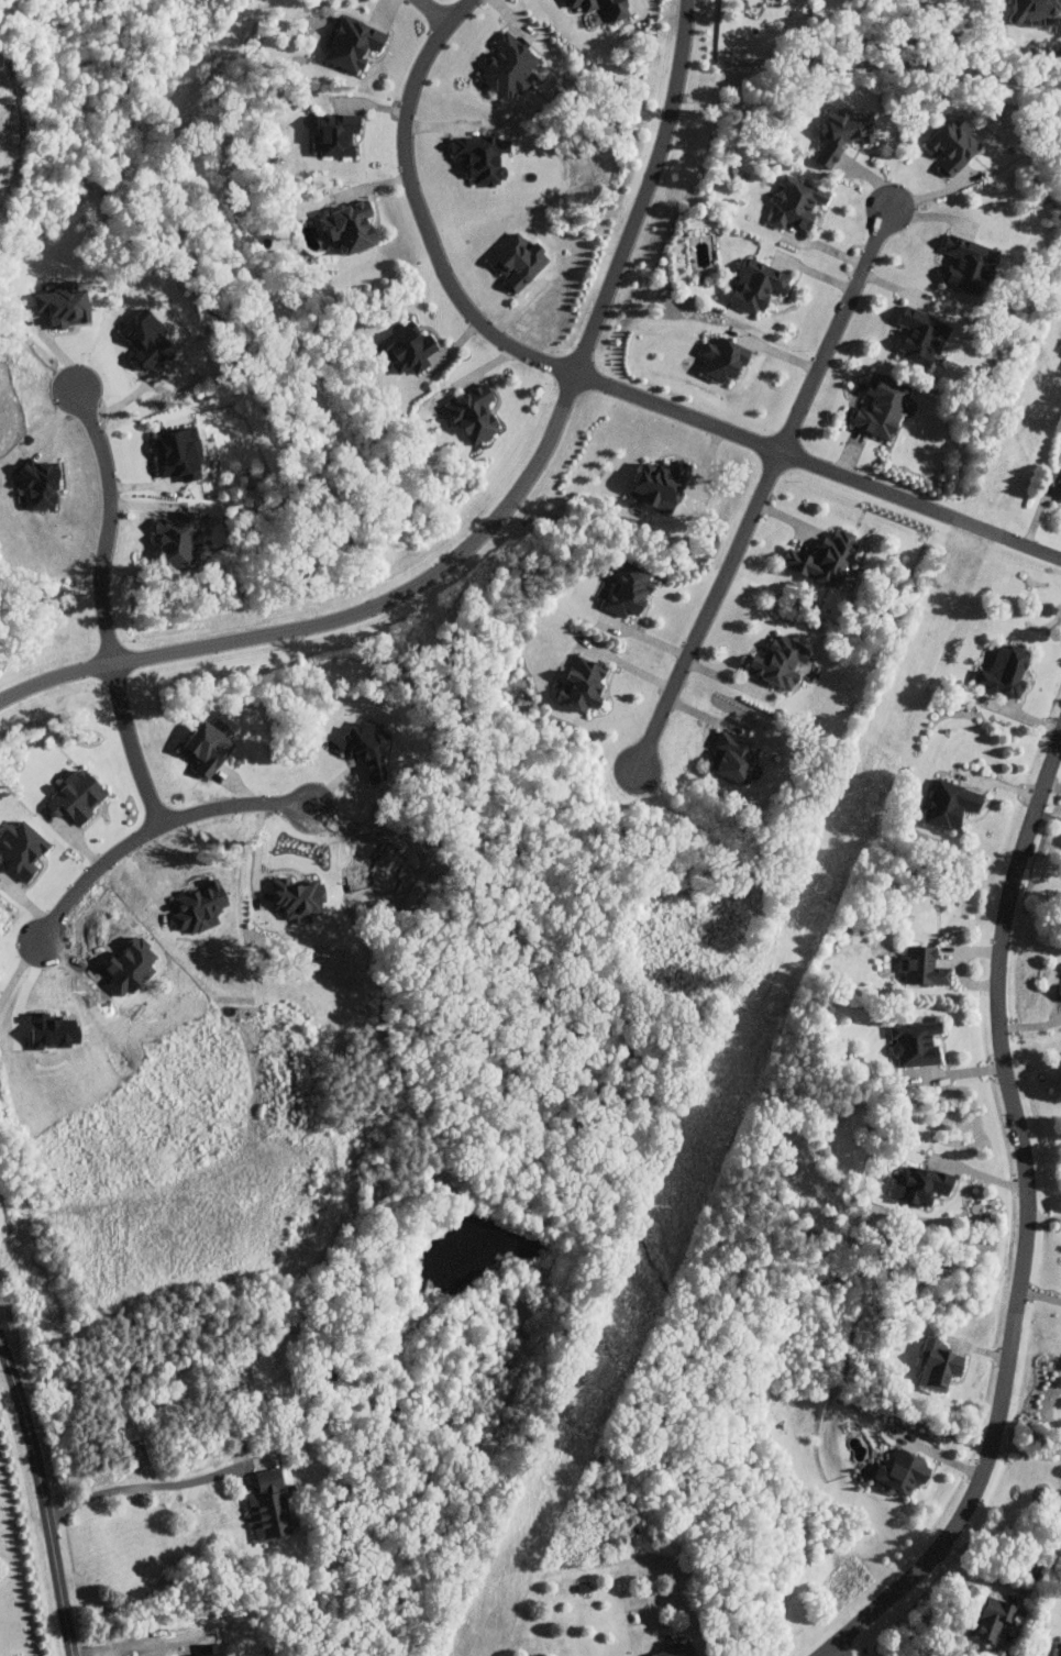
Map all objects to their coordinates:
road: (637, 4)
building: (608, 7)
building: (1038, 8)
road: (435, 14)
building: (354, 43)
building: (510, 65)
building: (843, 131)
building: (339, 132)
building: (954, 143)
building: (483, 156)
building: (796, 202)
road: (418, 217)
building: (352, 225)
building: (519, 260)
building: (970, 264)
building: (758, 284)
building: (64, 303)
building: (922, 335)
building: (147, 338)
building: (407, 347)
building: (725, 358)
building: (883, 406)
building: (475, 412)
building: (179, 453)
road: (819, 467)
building: (40, 484)
building: (663, 484)
road: (762, 489)
road: (502, 511)
road: (111, 520)
building: (177, 536)
building: (826, 559)
building: (629, 590)
building: (782, 662)
building: (1006, 671)
building: (584, 684)
road: (132, 744)
building: (368, 746)
building: (208, 748)
building: (736, 757)
building: (77, 796)
building: (952, 804)
road: (152, 828)
building: (21, 850)
building: (298, 898)
building: (200, 906)
building: (924, 967)
road: (19, 969)
building: (916, 1042)
road: (1034, 1066)
road: (953, 1077)
building: (921, 1184)
road: (1028, 1225)
building: (939, 1365)
road: (1026, 1451)
building: (906, 1472)
road: (145, 1486)
road: (43, 1498)
building: (269, 1505)
building: (995, 1619)
road: (124, 1645)
building: (1060, 1651)
building: (677, 1652)
road: (840, 1652)

